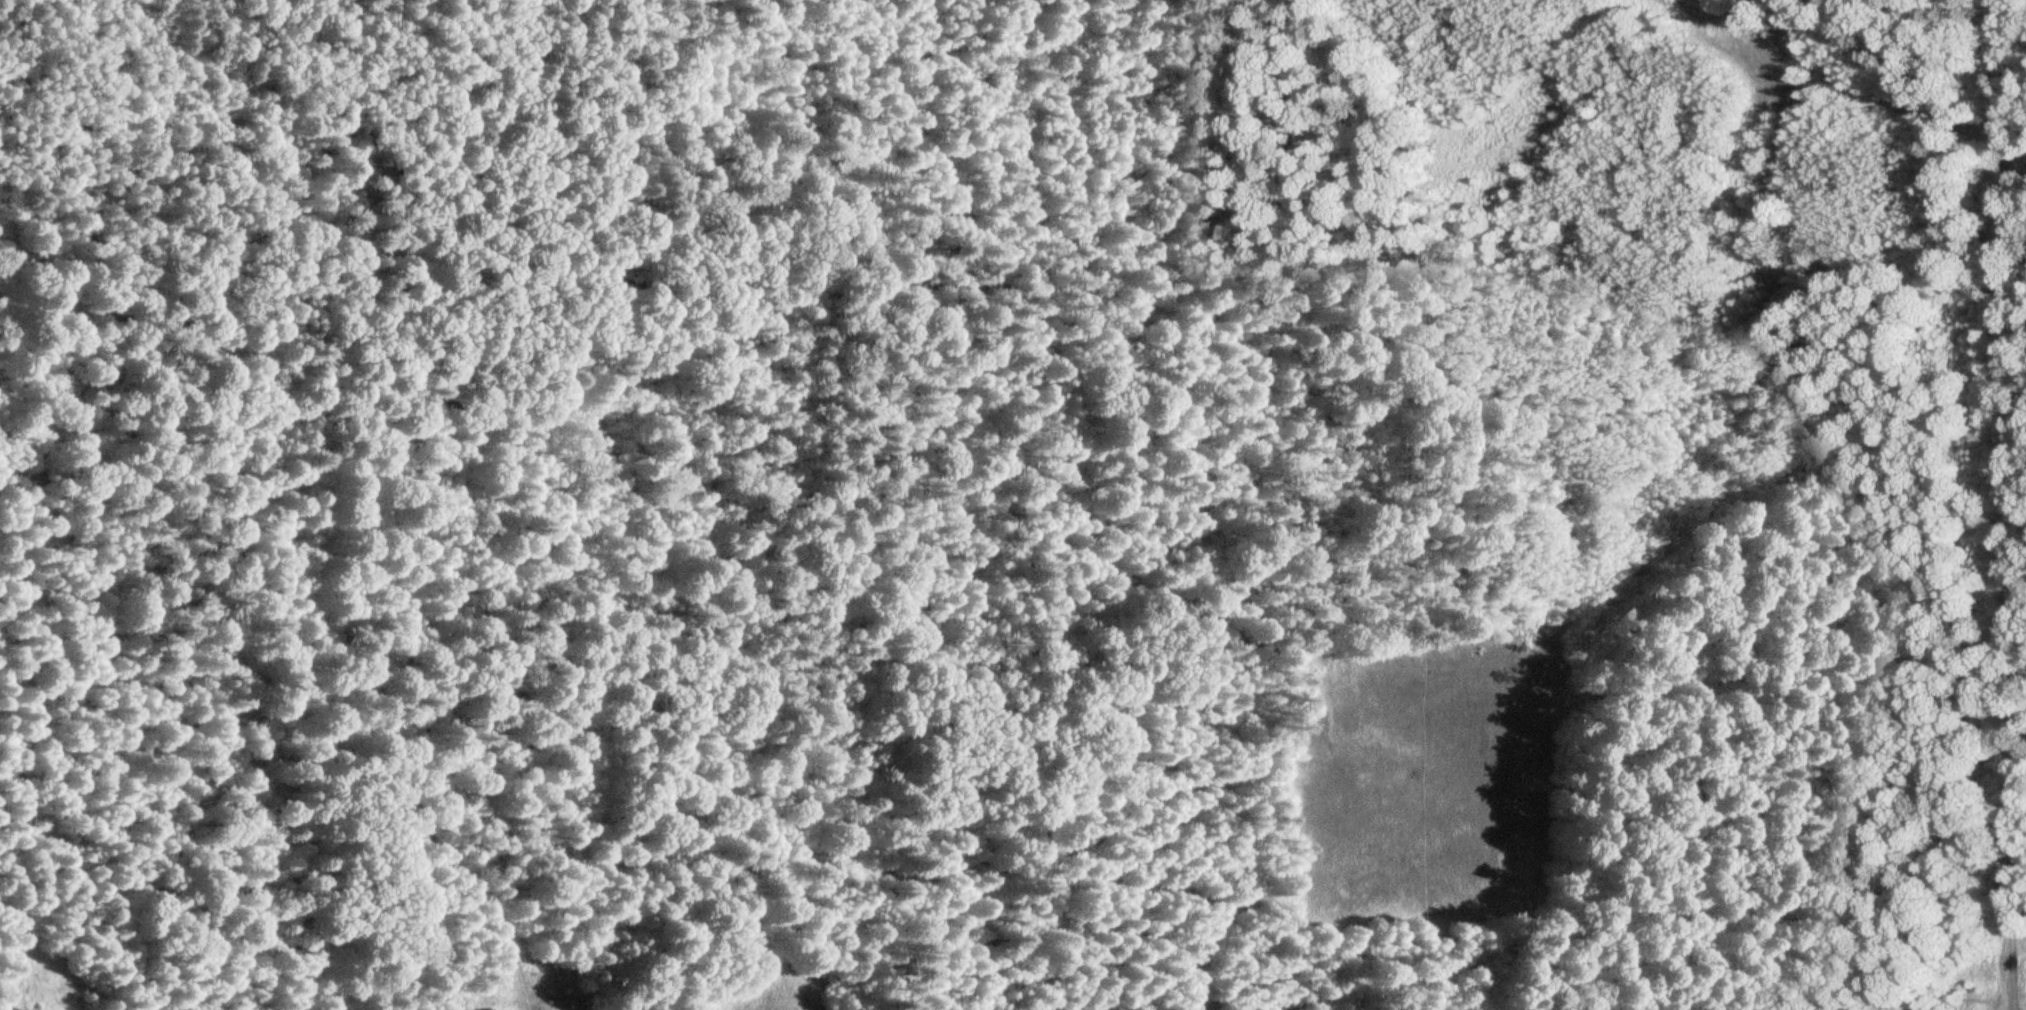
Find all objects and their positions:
road: (2007, 505)

